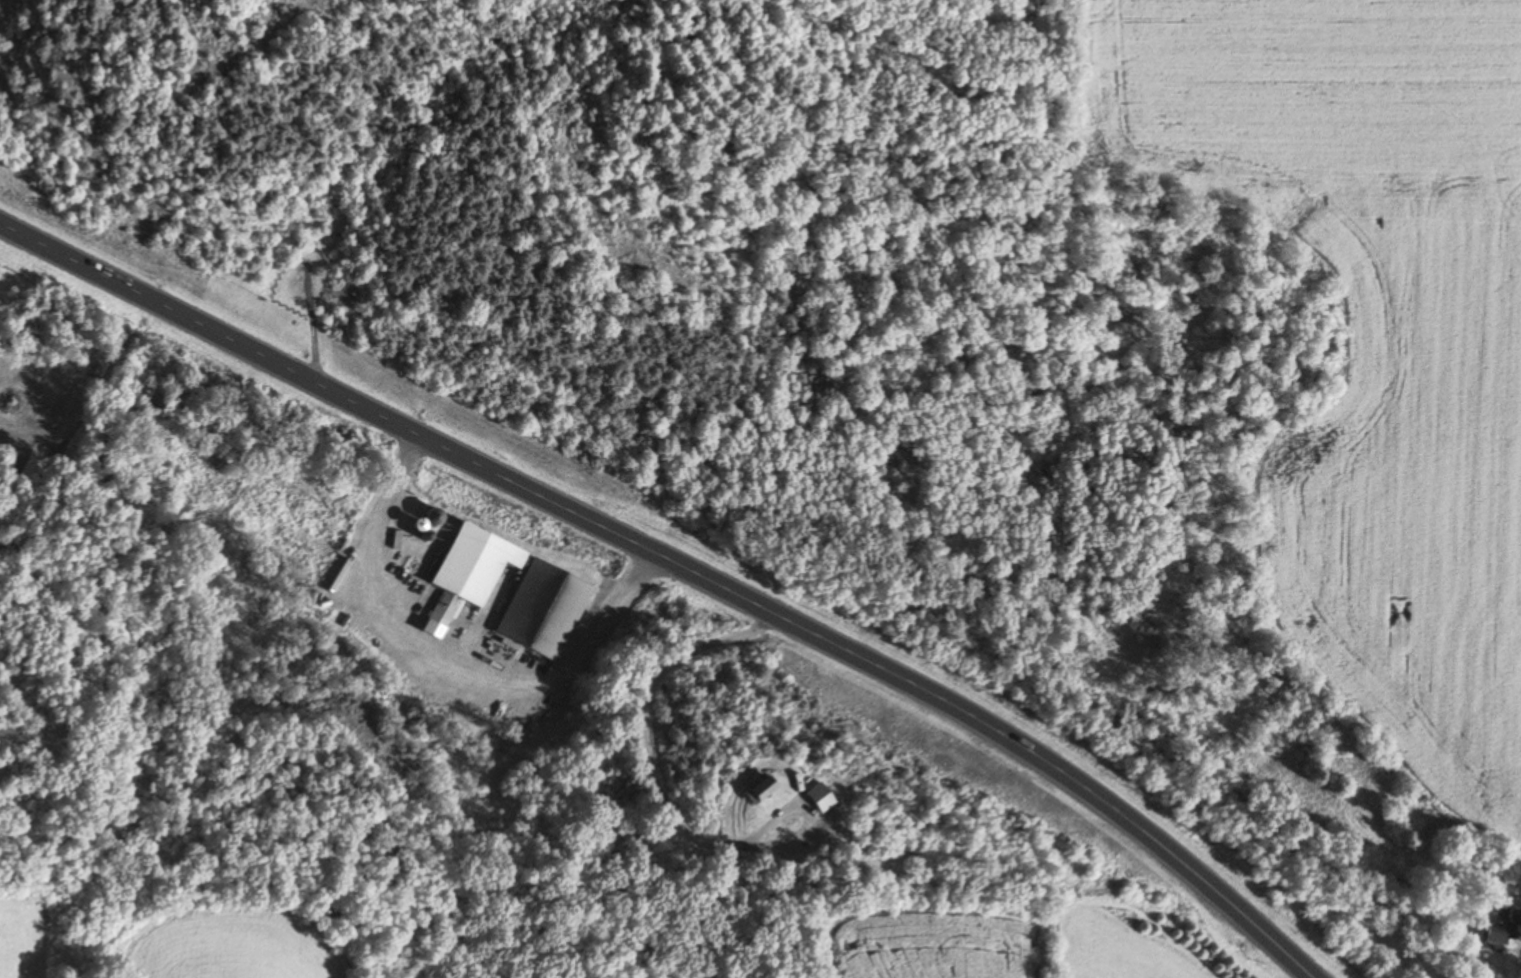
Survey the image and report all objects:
road: (153, 133)
road: (311, 280)
road: (581, 286)
road: (688, 290)
road: (314, 345)
building: (32, 471)
road: (680, 564)
building: (477, 569)
building: (548, 609)
road: (443, 665)
building: (766, 788)
road: (657, 795)
building: (1504, 933)

